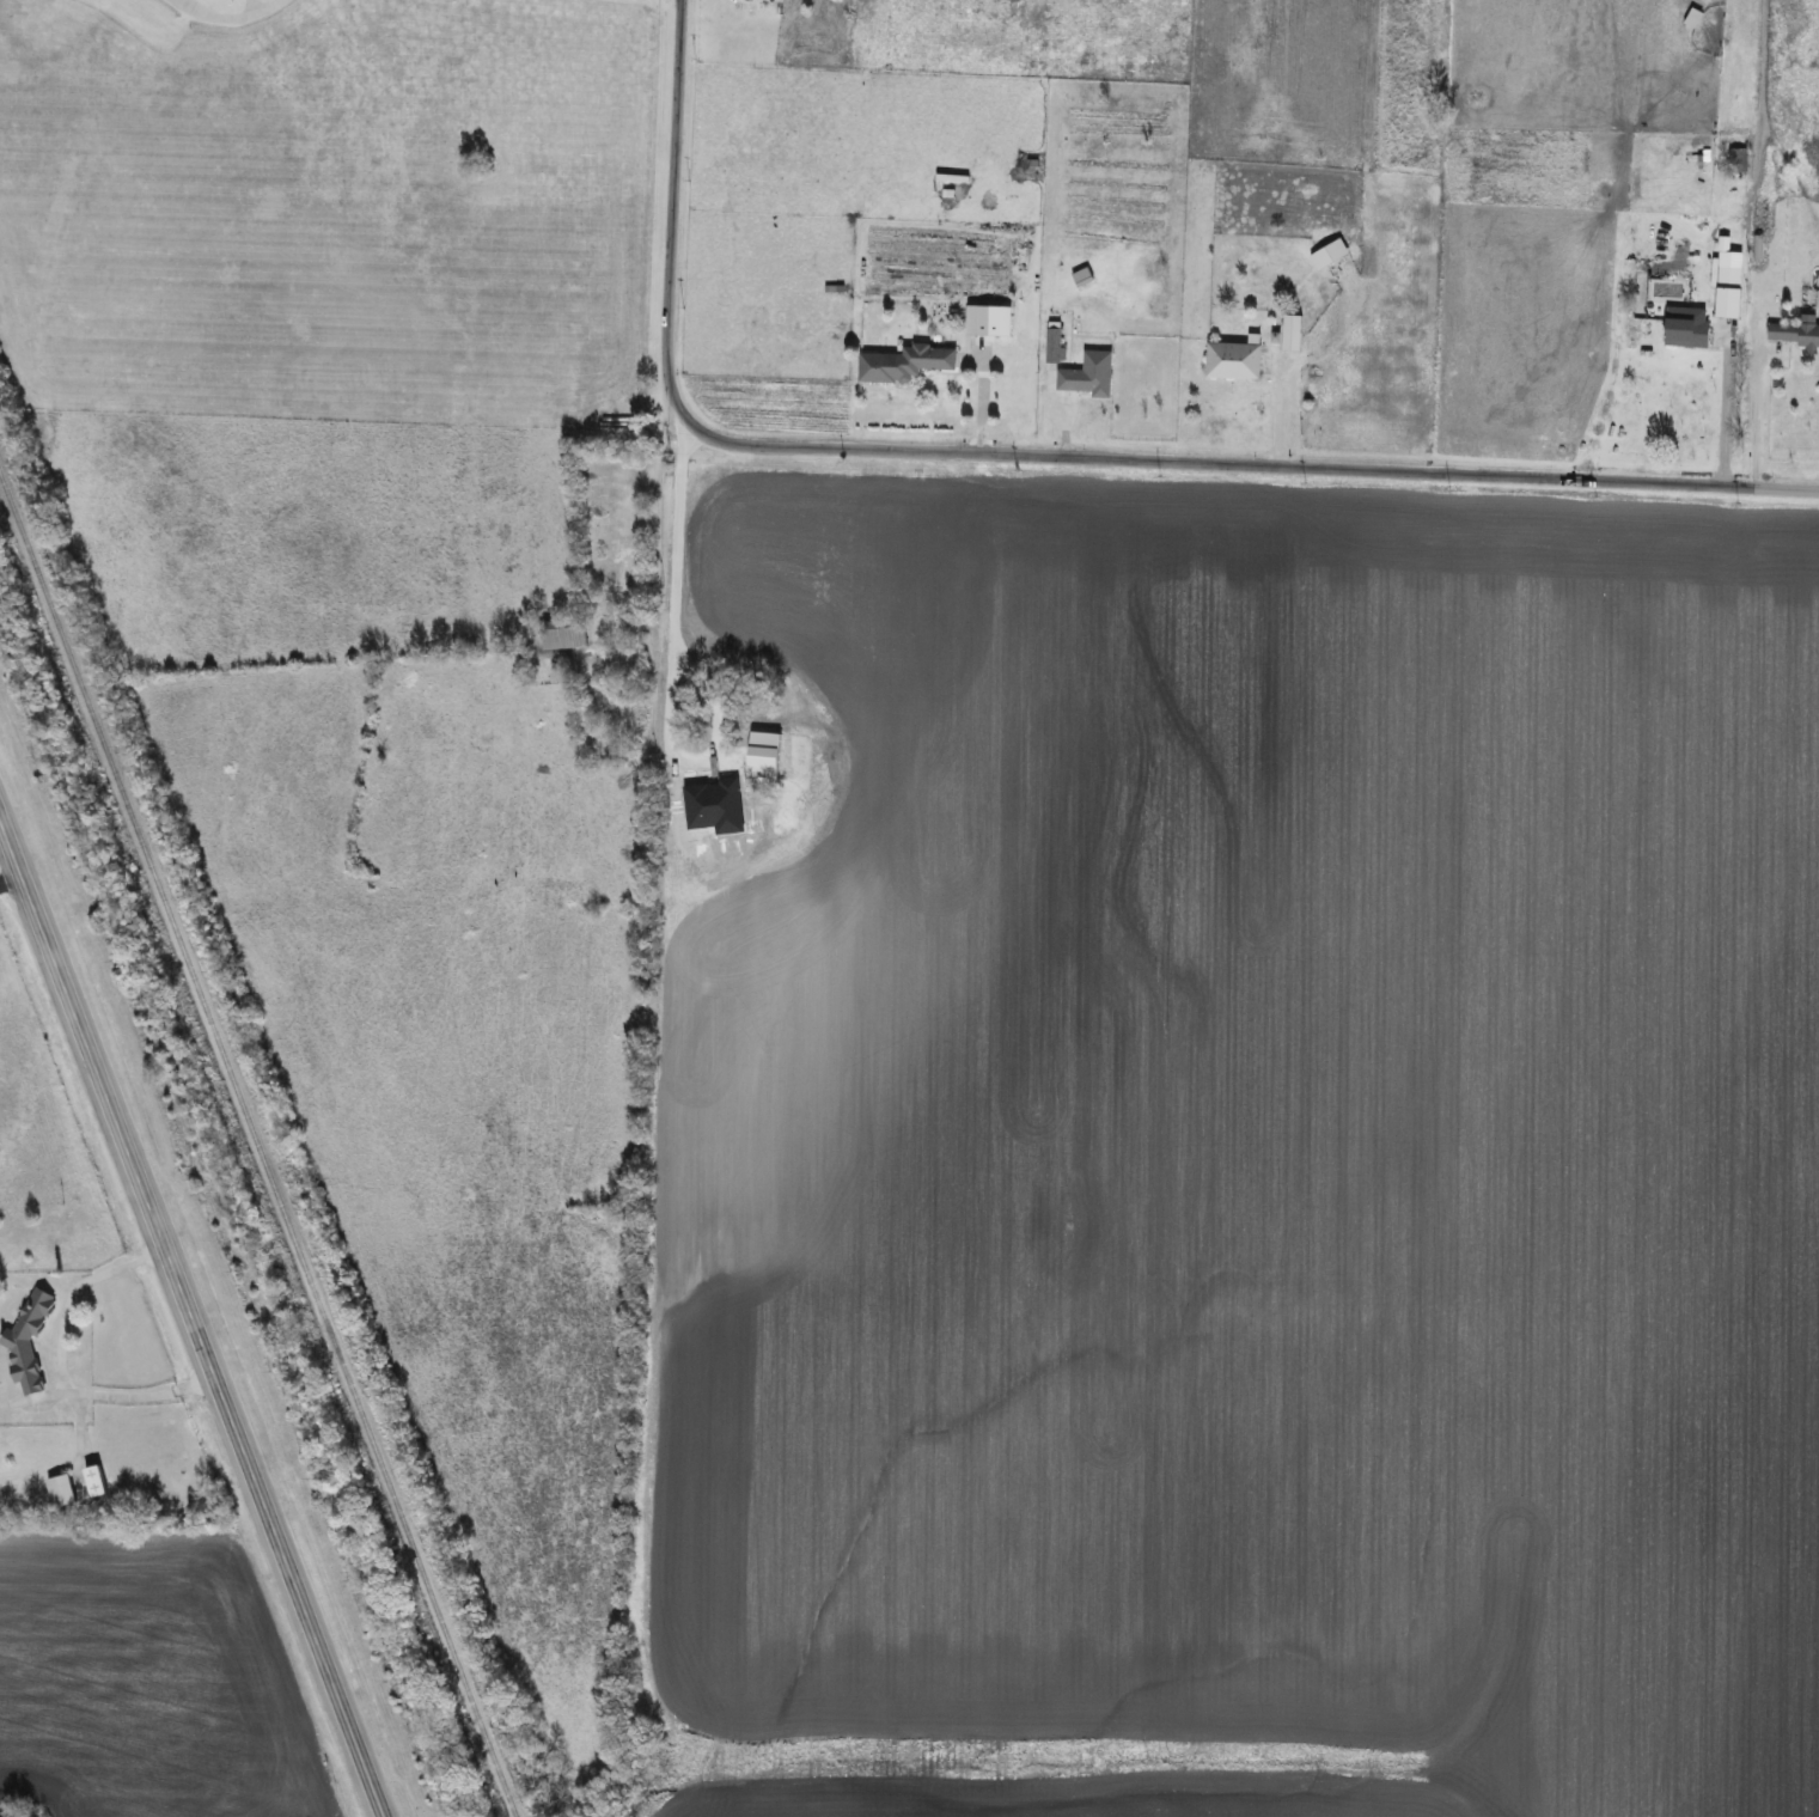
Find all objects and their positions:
road: (261, 10)
building: (1689, 18)
building: (1735, 161)
building: (1326, 254)
building: (1726, 276)
building: (973, 327)
building: (1288, 333)
building: (1683, 333)
building: (1793, 333)
building: (1051, 342)
building: (1229, 360)
building: (902, 364)
building: (1086, 376)
road: (1722, 419)
road: (1753, 420)
road: (1036, 456)
road: (658, 530)
building: (560, 633)
road: (12, 880)
railway: (256, 1146)
road: (190, 1315)
building: (25, 1340)
road: (57, 1361)
building: (91, 1481)
building: (57, 1490)

